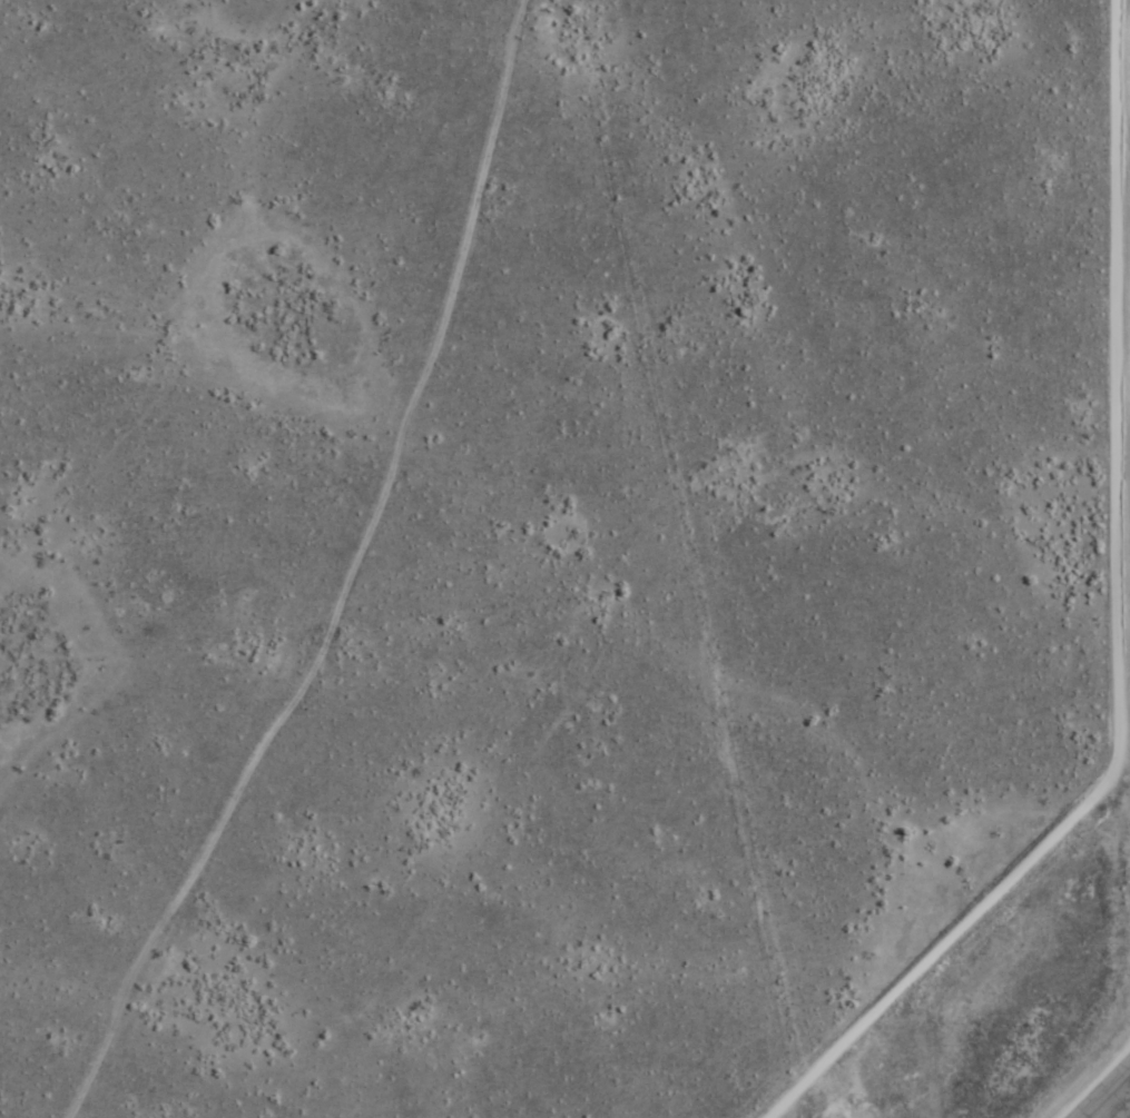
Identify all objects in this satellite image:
road: (337, 573)
road: (1116, 631)
airport: (1030, 849)
airport taxiway: (1112, 1099)
airport taxiway: (1113, 1111)

